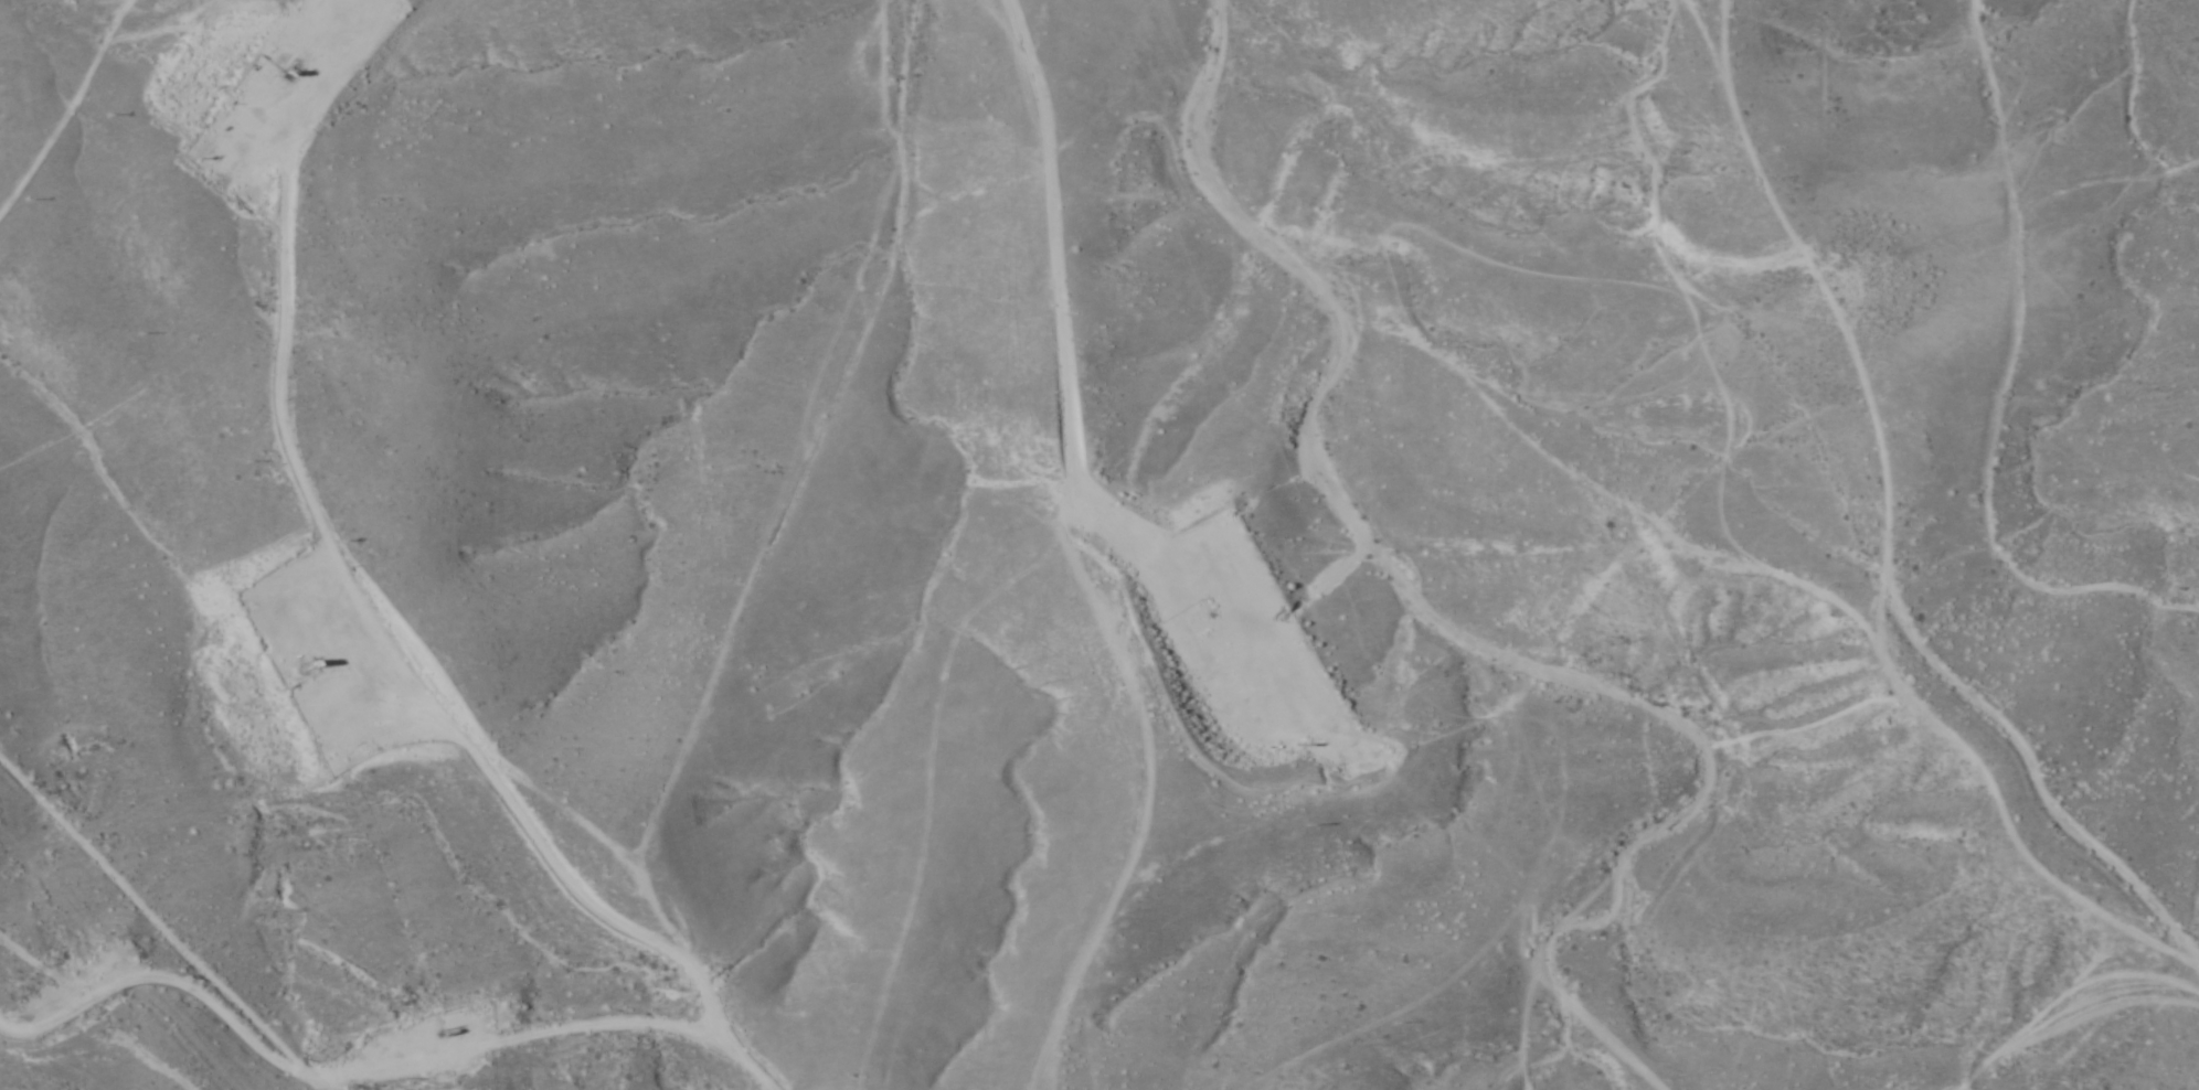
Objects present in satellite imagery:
road: (34, 1067)

